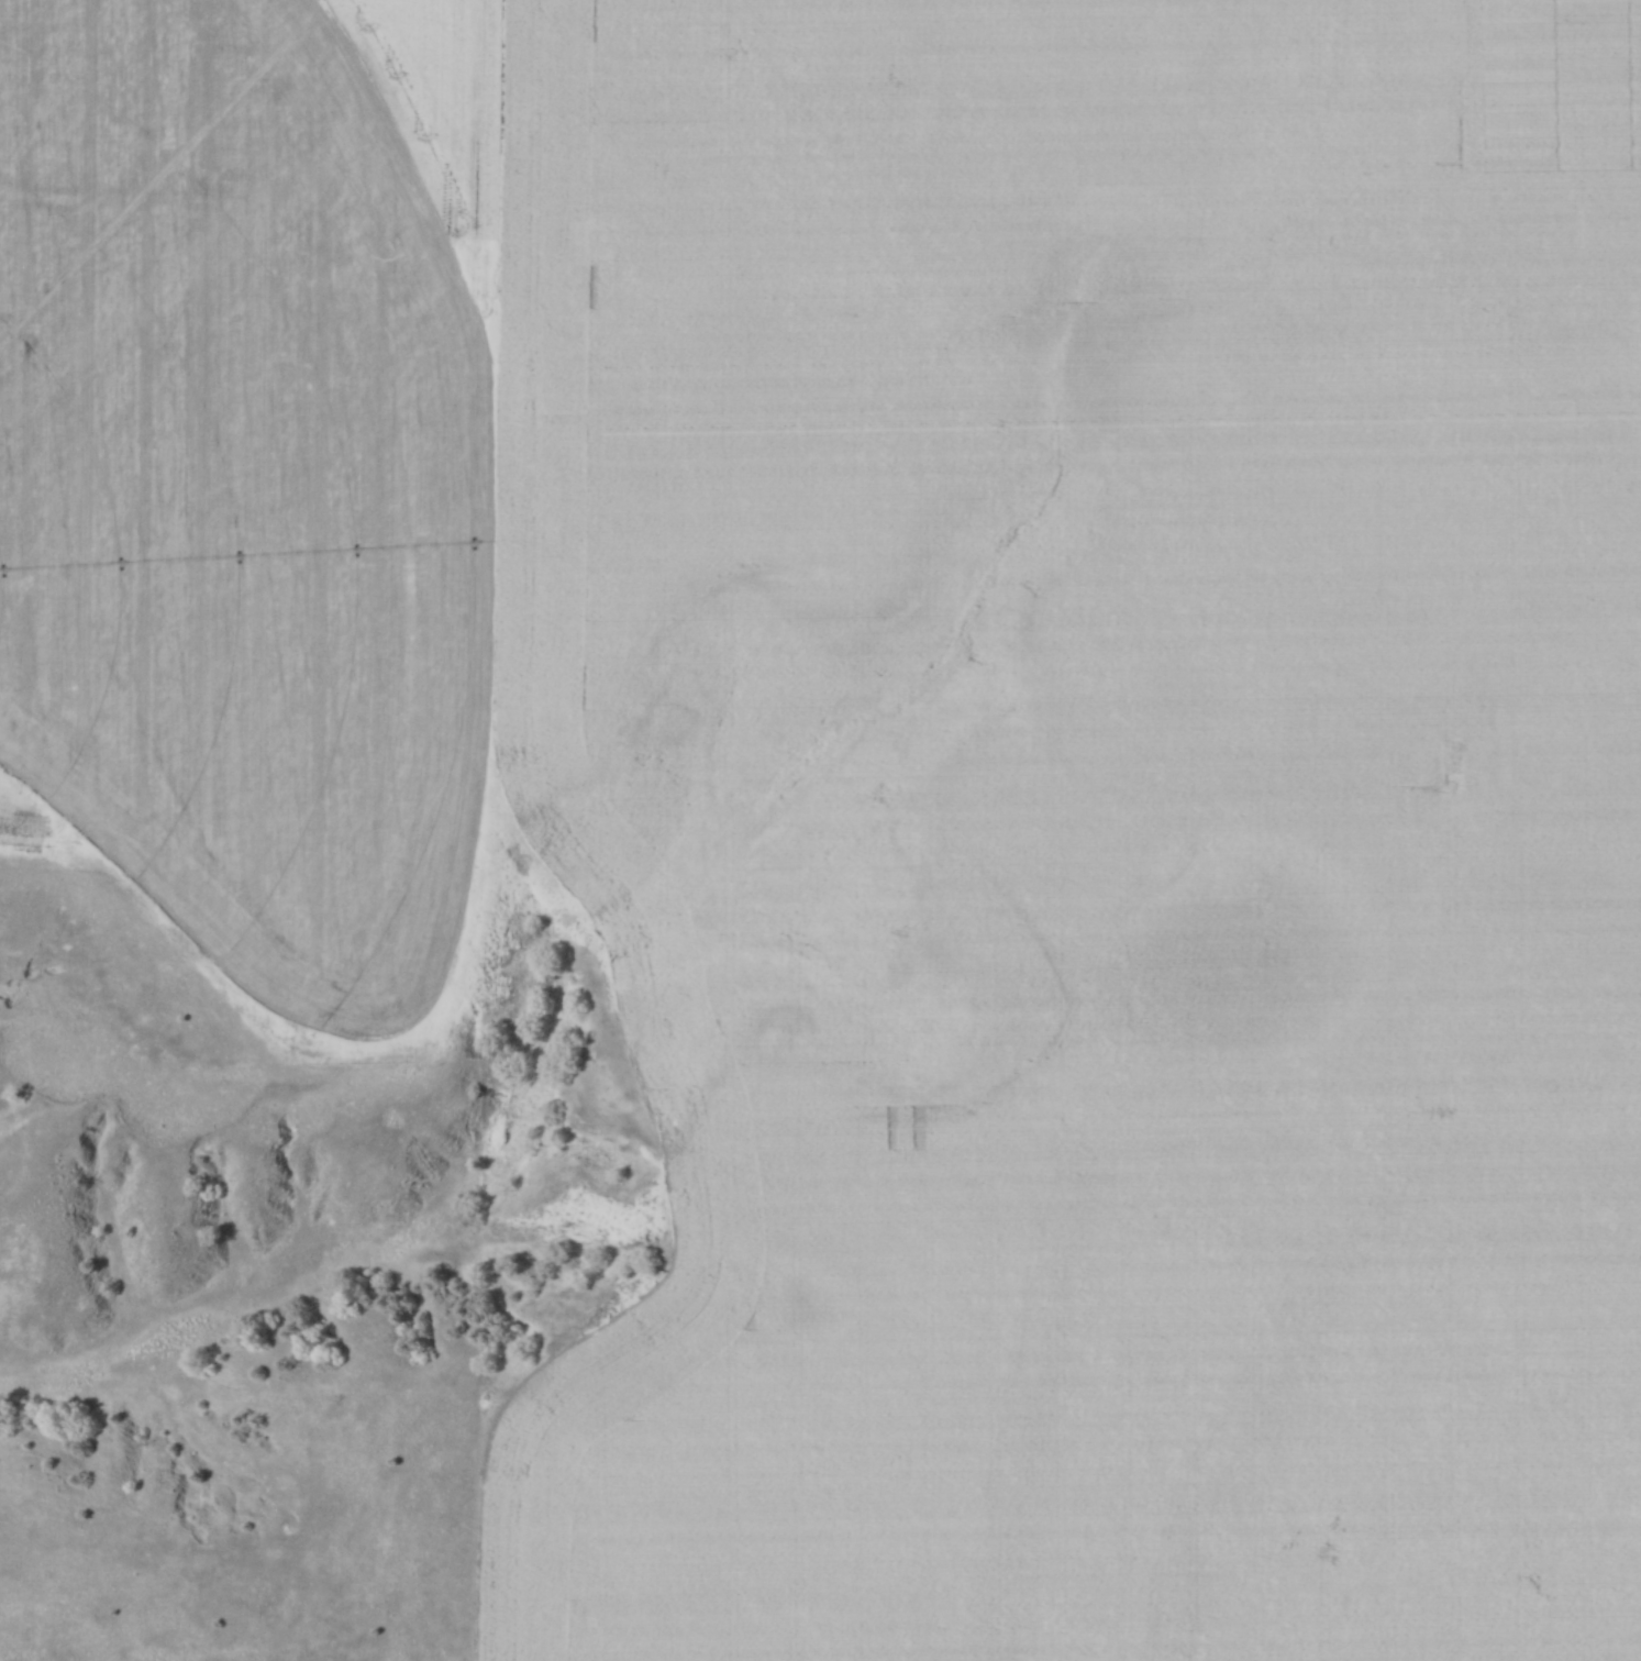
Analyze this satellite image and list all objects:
crop: (263, 477)
crop: (1091, 820)

